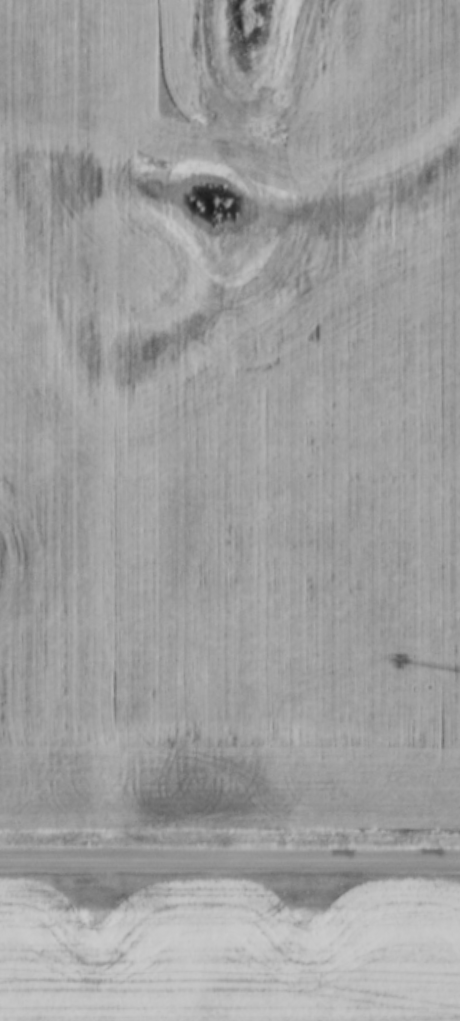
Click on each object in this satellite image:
road: (230, 855)

